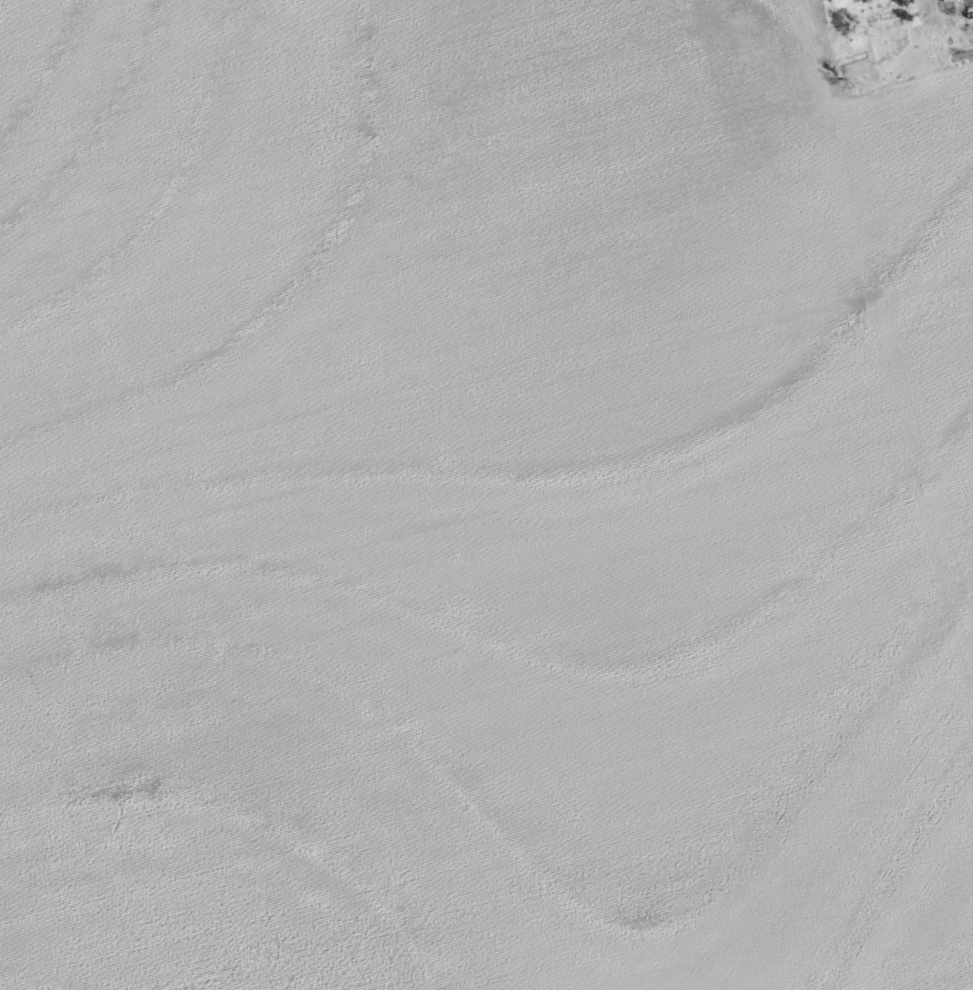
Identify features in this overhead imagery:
road: (814, 14)

